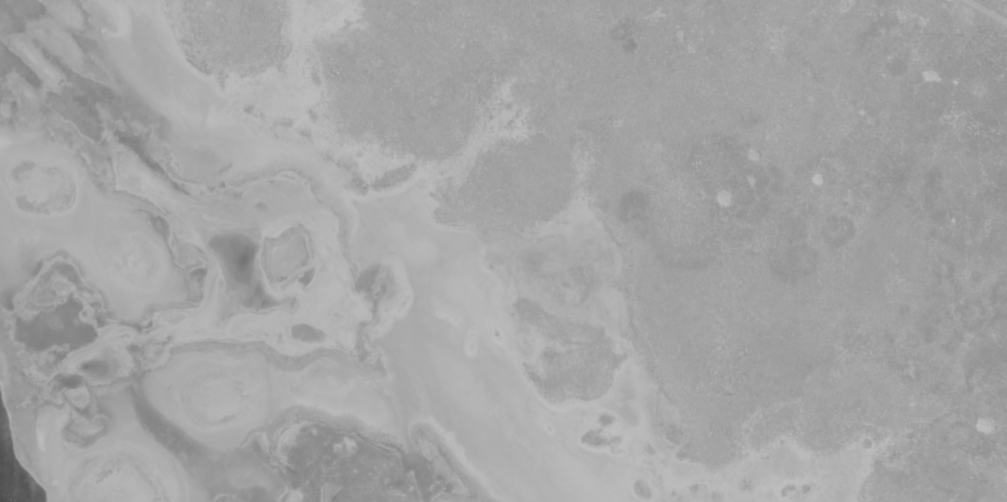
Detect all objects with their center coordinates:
road: (989, 9)
power plant: (503, 251)

